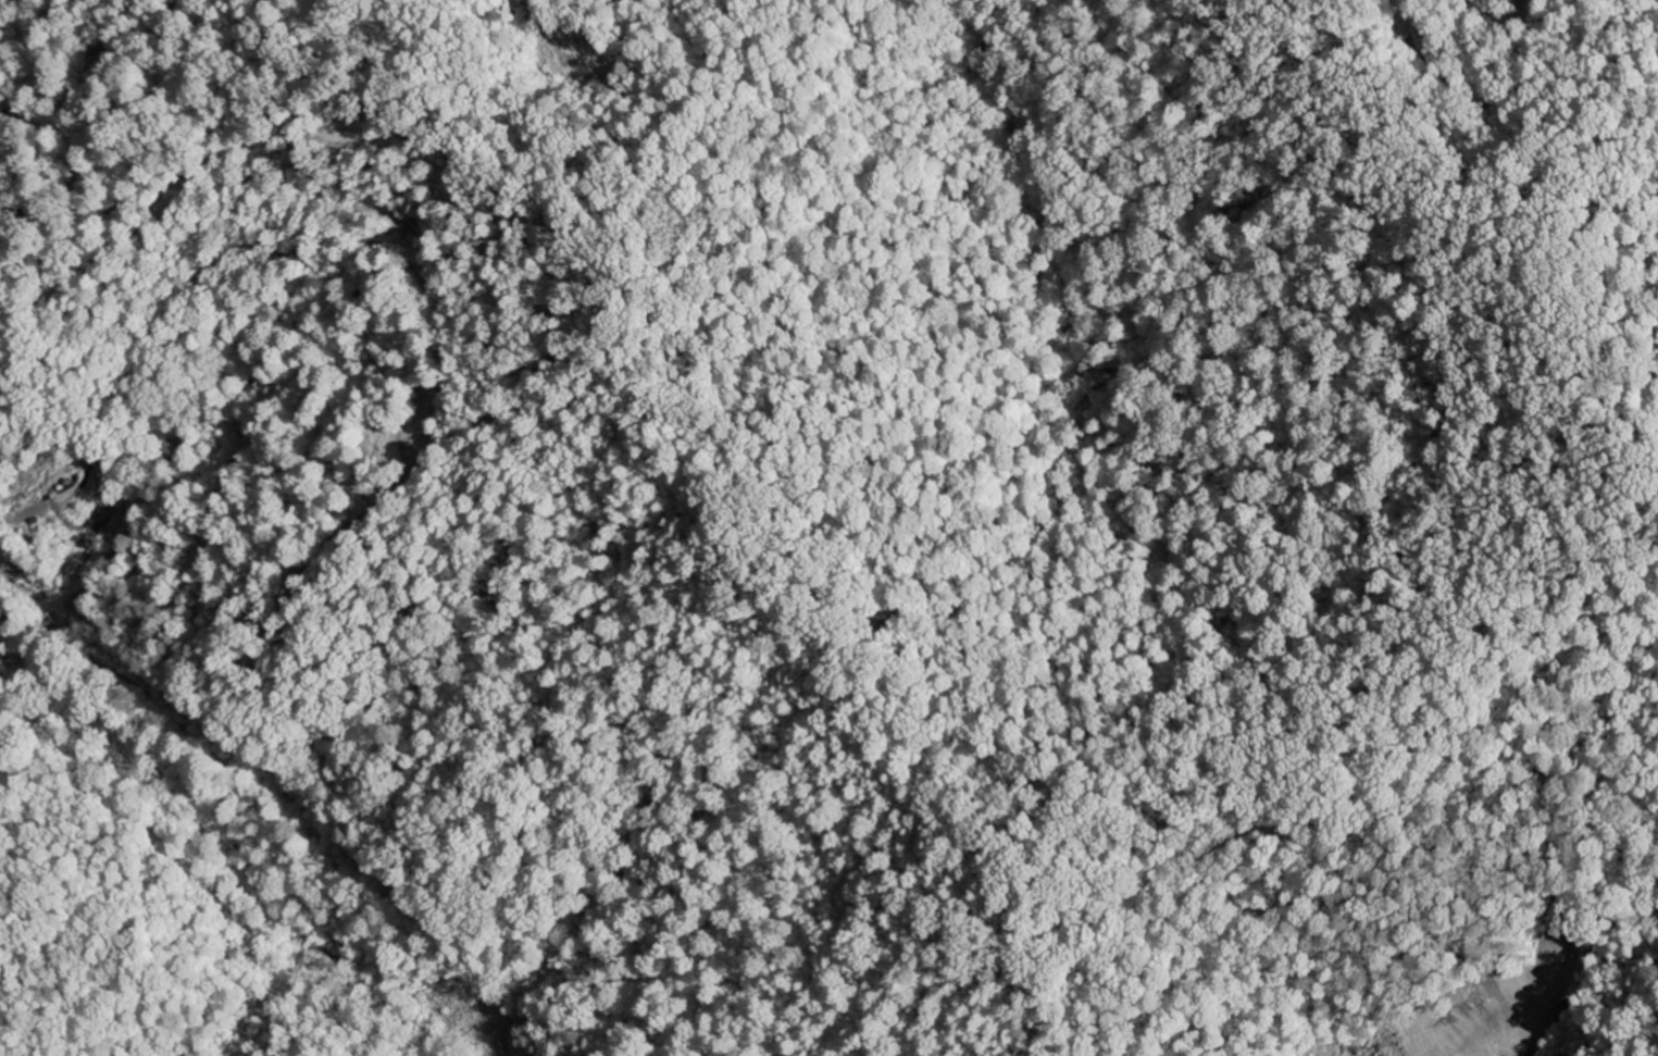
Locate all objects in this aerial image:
road: (236, 843)

